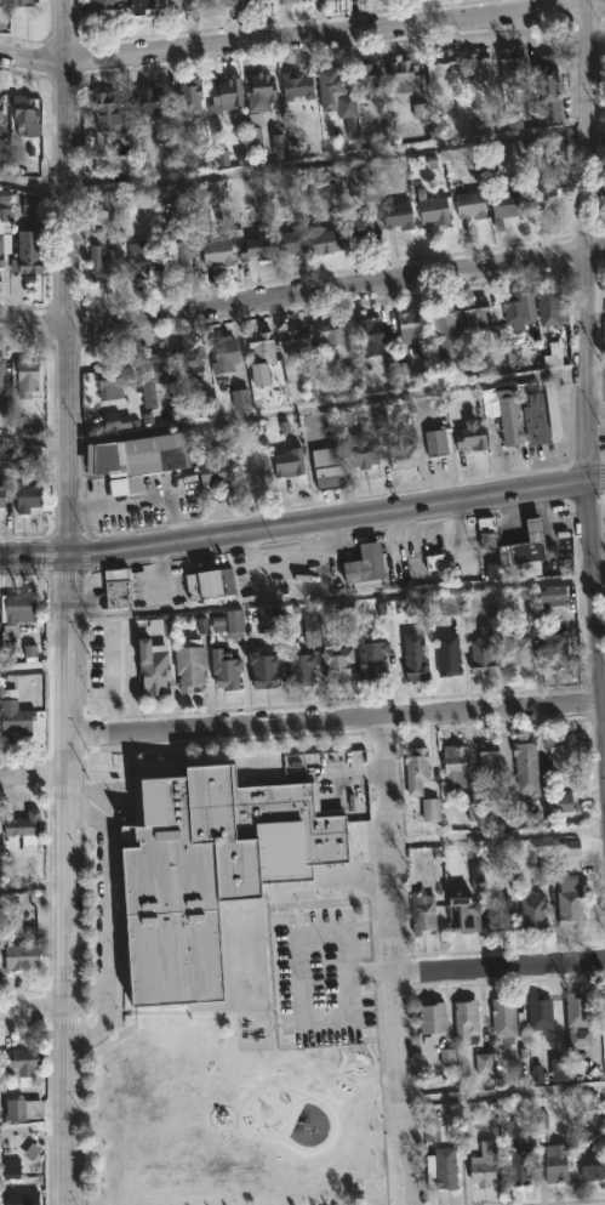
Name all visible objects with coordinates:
building: (246, 1)
building: (282, 1)
building: (289, 1)
building: (23, 2)
building: (4, 4)
building: (182, 5)
building: (107, 7)
building: (142, 7)
building: (211, 8)
road: (303, 42)
building: (476, 66)
building: (510, 66)
building: (436, 73)
building: (400, 75)
building: (364, 79)
building: (295, 86)
building: (329, 86)
building: (258, 90)
building: (547, 93)
building: (224, 95)
building: (147, 100)
building: (184, 100)
building: (2, 106)
building: (25, 109)
building: (105, 112)
building: (1, 124)
road: (302, 170)
building: (536, 181)
building: (468, 204)
building: (504, 205)
building: (432, 210)
building: (395, 216)
building: (6, 226)
building: (359, 227)
building: (324, 240)
building: (287, 243)
building: (213, 248)
building: (253, 248)
building: (28, 251)
building: (175, 252)
building: (141, 257)
building: (107, 263)
road: (303, 299)
building: (547, 305)
building: (516, 308)
building: (440, 316)
building: (475, 316)
building: (409, 323)
building: (367, 334)
building: (295, 341)
building: (336, 351)
building: (223, 352)
building: (259, 356)
building: (188, 357)
building: (2, 369)
road: (589, 371)
building: (150, 375)
building: (30, 376)
building: (110, 379)
road: (302, 408)
building: (552, 410)
building: (508, 417)
building: (533, 419)
building: (469, 436)
building: (434, 440)
building: (399, 445)
building: (360, 449)
building: (137, 459)
building: (286, 461)
building: (327, 467)
building: (213, 468)
building: (2, 495)
building: (29, 496)
road: (303, 528)
building: (485, 530)
building: (525, 551)
building: (435, 563)
building: (363, 565)
building: (207, 584)
building: (114, 587)
building: (553, 597)
road: (70, 602)
road: (338, 603)
building: (455, 604)
building: (19, 607)
building: (308, 626)
building: (0, 629)
building: (553, 648)
building: (480, 652)
building: (518, 653)
building: (412, 654)
building: (445, 655)
building: (370, 658)
building: (335, 663)
building: (187, 666)
building: (150, 667)
building: (296, 667)
building: (222, 669)
building: (261, 669)
road: (36, 672)
building: (16, 714)
road: (337, 723)
building: (560, 755)
building: (486, 760)
building: (453, 766)
building: (525, 767)
building: (415, 769)
road: (35, 777)
building: (25, 826)
road: (497, 842)
building: (205, 869)
road: (34, 893)
building: (569, 903)
building: (531, 909)
building: (421, 911)
building: (461, 911)
building: (498, 913)
road: (104, 926)
building: (22, 956)
road: (398, 962)
road: (502, 967)
road: (34, 1005)
building: (538, 1012)
building: (575, 1012)
building: (502, 1017)
building: (430, 1021)
building: (466, 1021)
building: (23, 1061)
building: (485, 1065)
road: (506, 1097)
road: (34, 1131)
building: (555, 1163)
building: (484, 1164)
building: (518, 1164)
building: (590, 1165)
building: (444, 1171)
building: (24, 1198)

